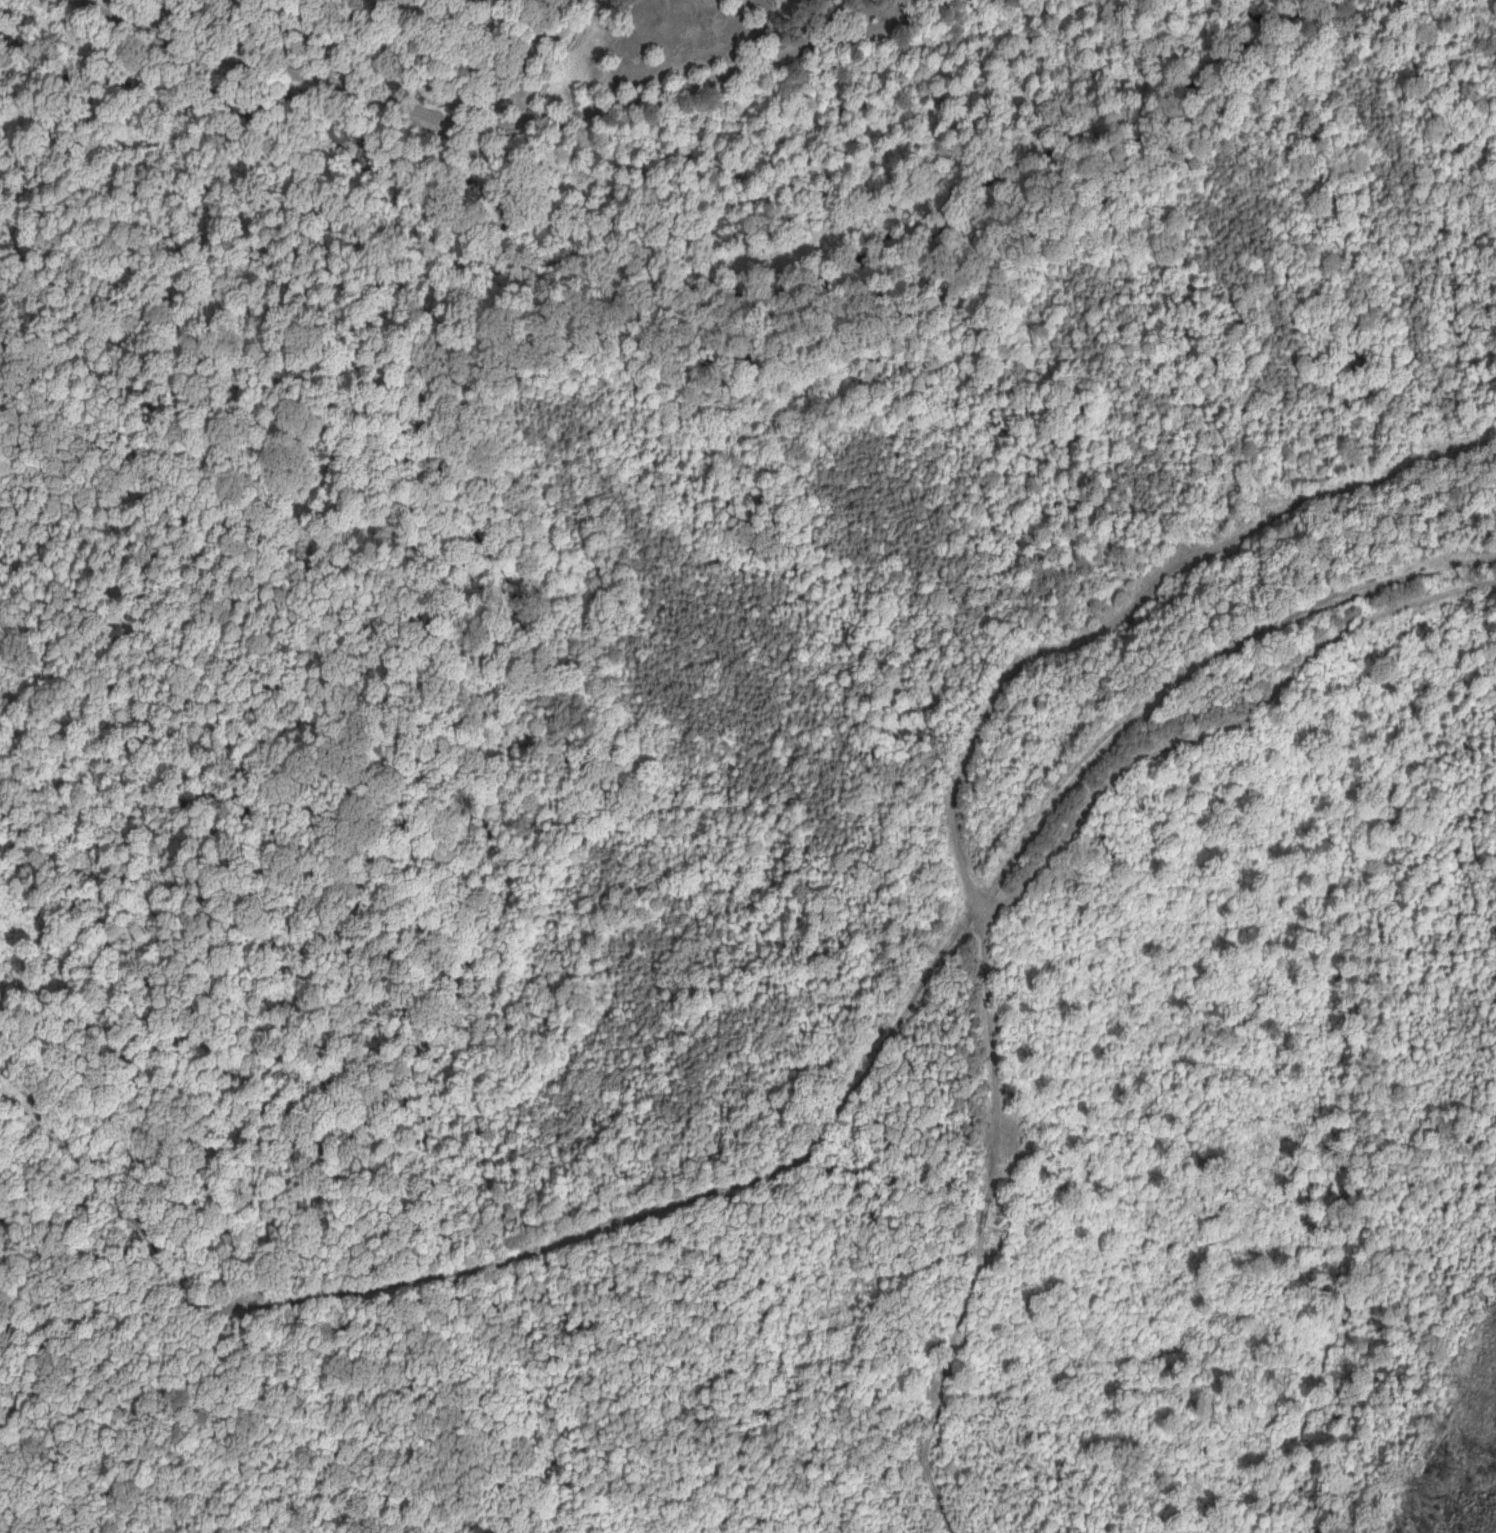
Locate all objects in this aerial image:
road: (132, 20)
road: (825, 28)
road: (579, 112)

